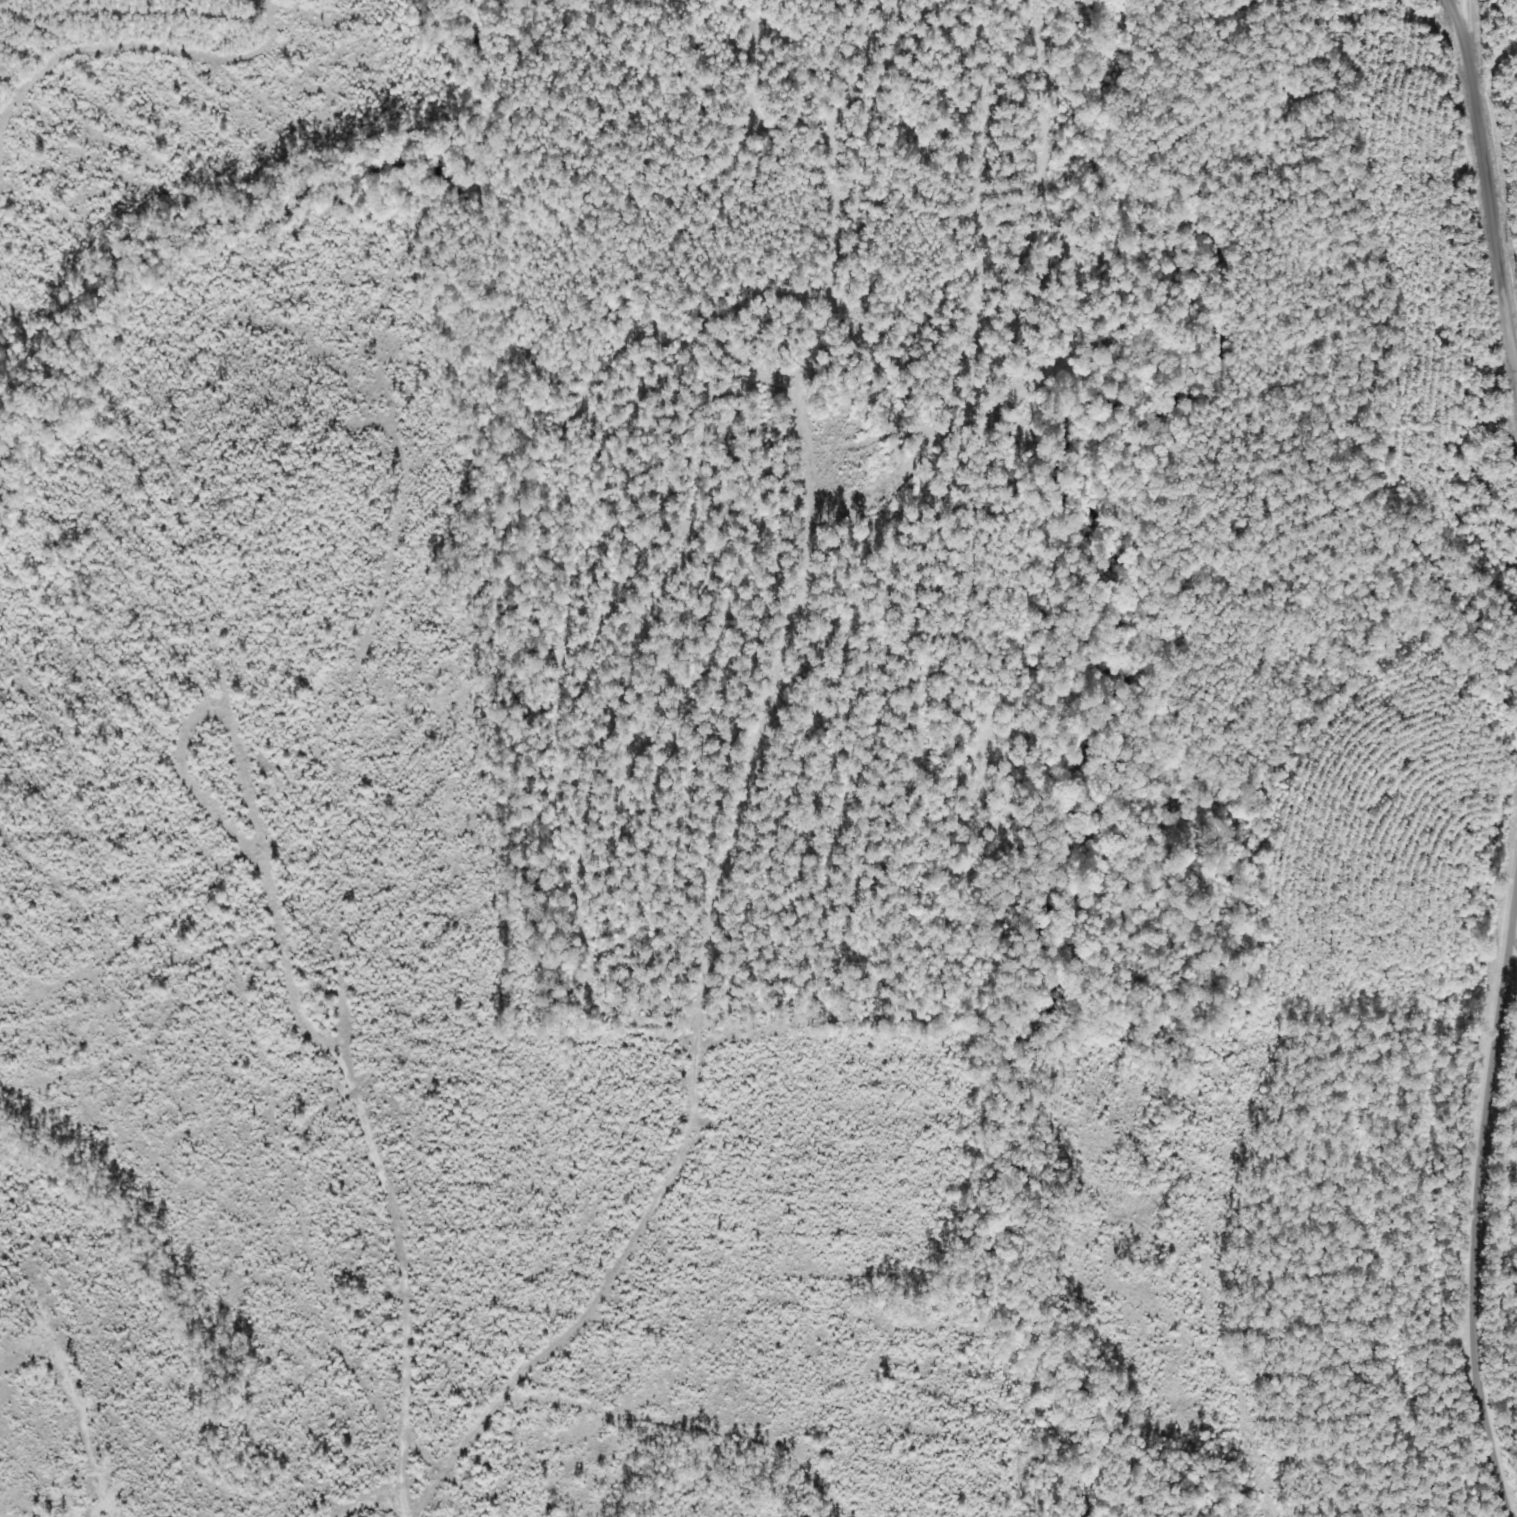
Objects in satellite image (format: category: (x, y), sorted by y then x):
road: (1494, 48)
road: (349, 930)
road: (1514, 957)
road: (1461, 1217)

